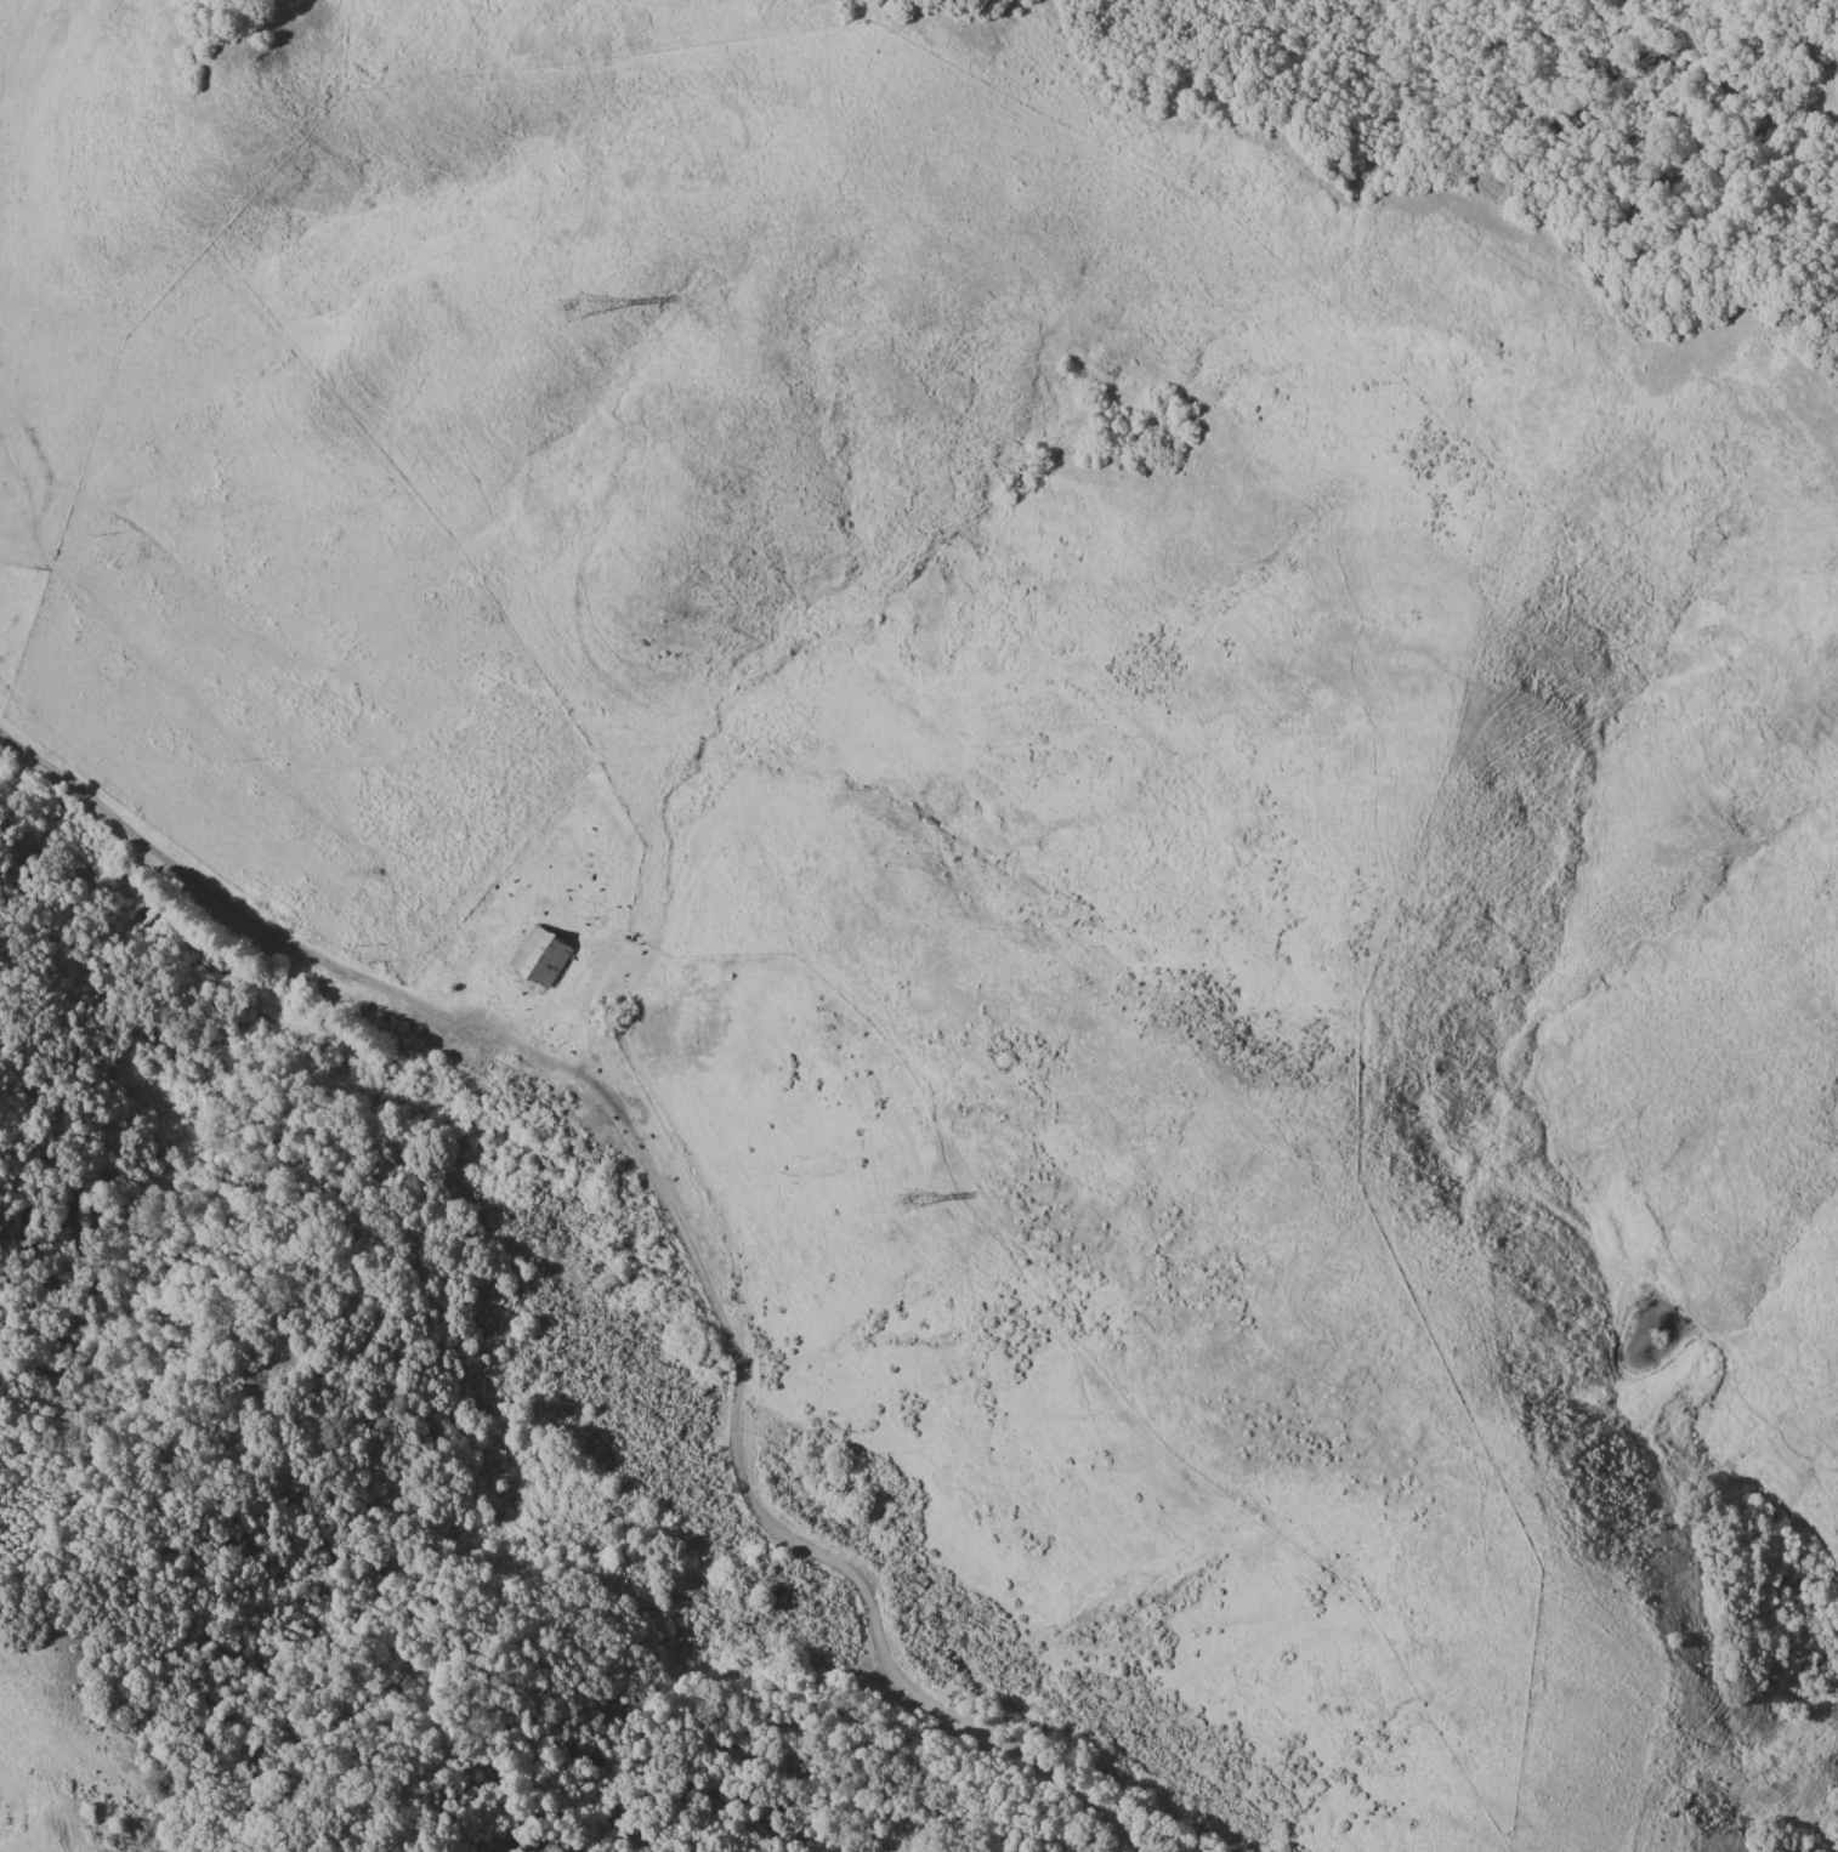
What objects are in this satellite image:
power tower: (574, 299)
building: (543, 958)
power tower: (912, 1208)
road: (673, 1237)

